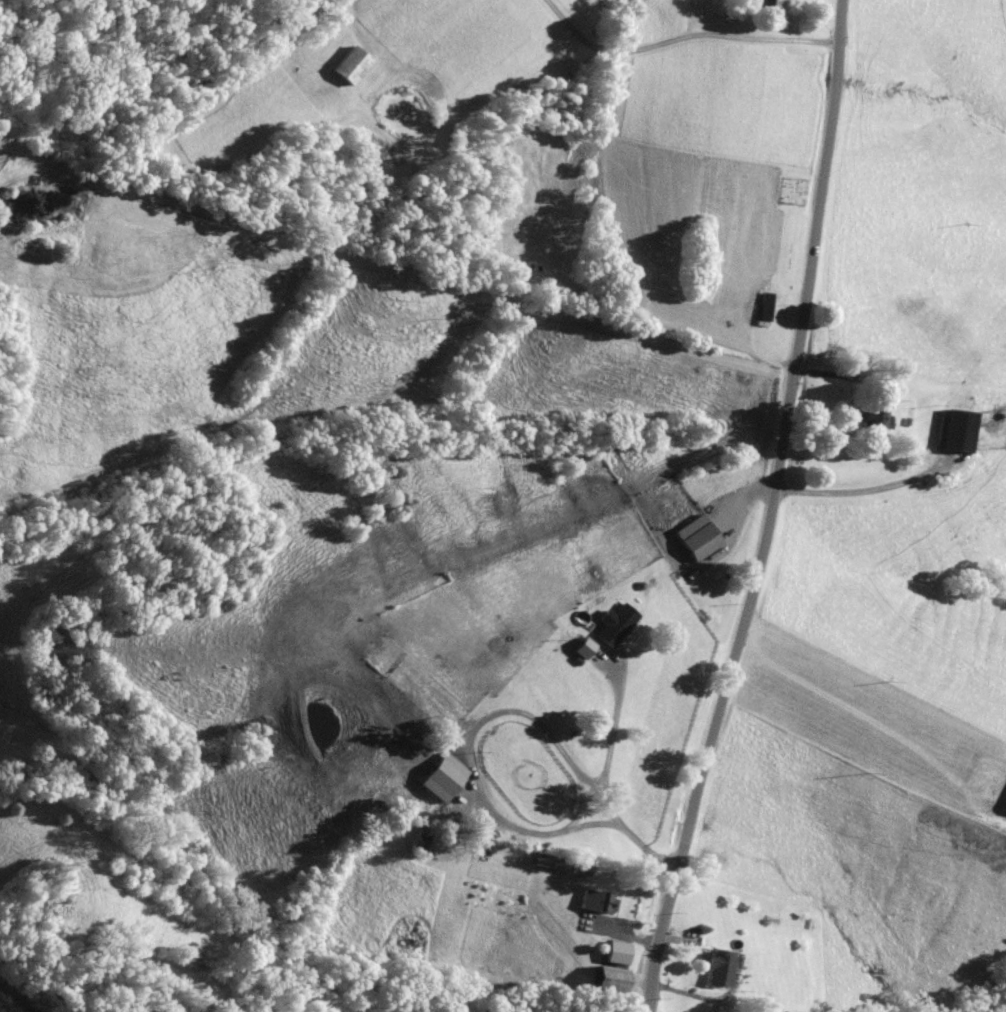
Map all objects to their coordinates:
building: (771, 3)
road: (679, 39)
building: (352, 64)
park: (793, 190)
building: (766, 308)
road: (822, 372)
building: (863, 374)
building: (875, 415)
building: (957, 428)
road: (868, 489)
road: (740, 493)
road: (769, 510)
building: (696, 536)
building: (614, 623)
building: (364, 639)
building: (578, 646)
building: (597, 659)
road: (472, 757)
building: (446, 776)
road: (606, 782)
building: (1005, 805)
building: (423, 841)
building: (599, 900)
road: (630, 938)
road: (676, 940)
building: (611, 951)
building: (718, 967)
building: (611, 976)
road: (706, 994)
road: (18, 998)

